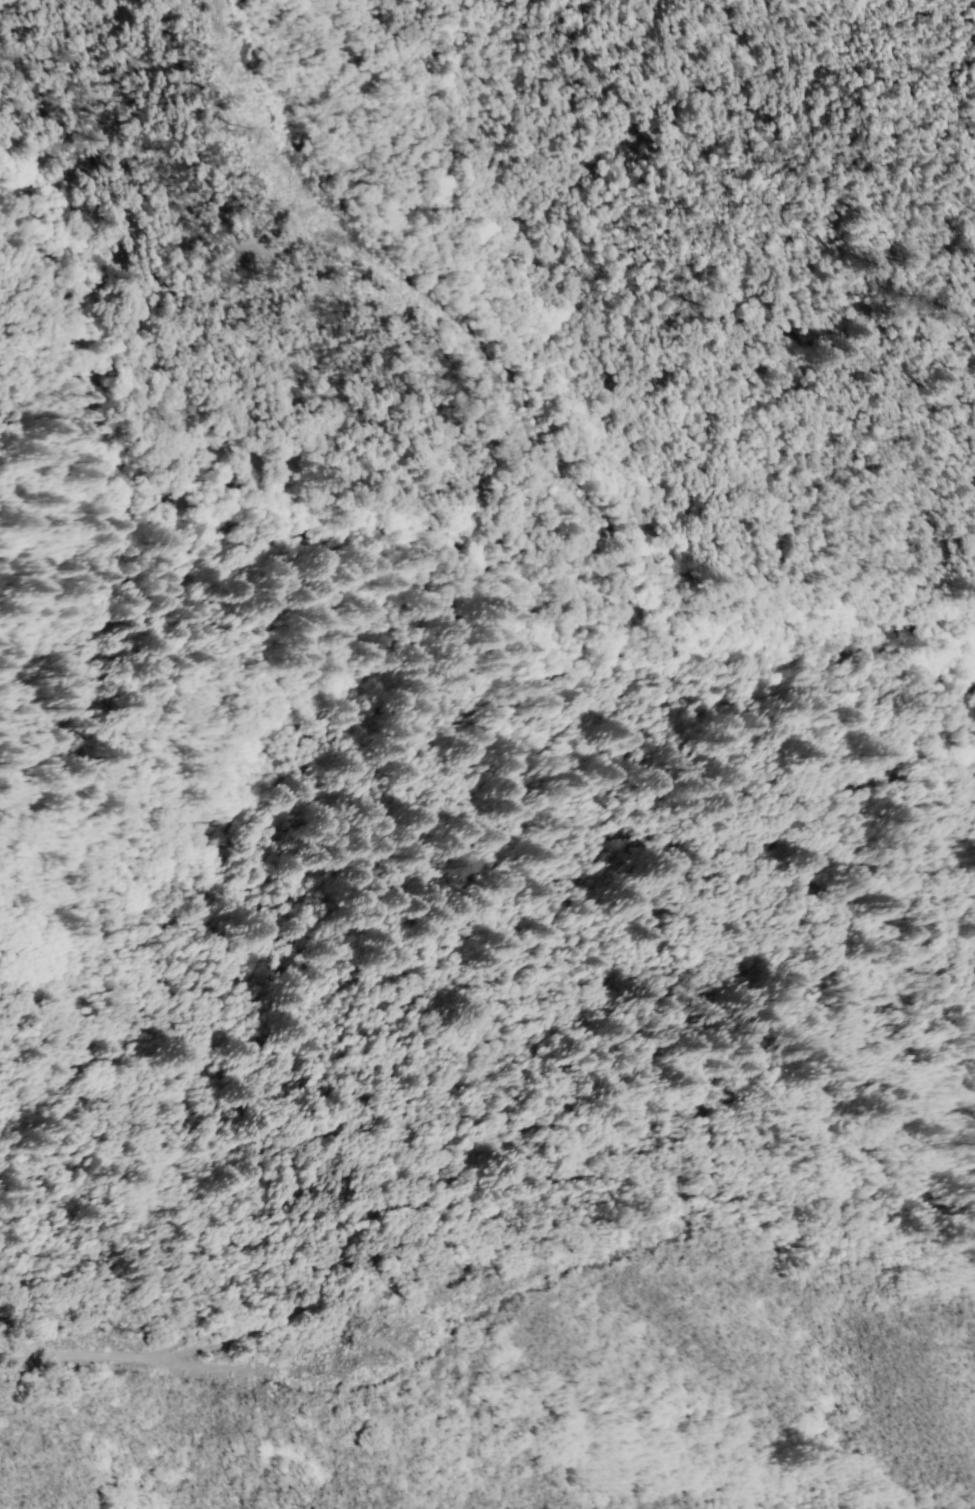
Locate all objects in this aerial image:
road: (419, 318)
road: (705, 866)
road: (648, 1182)

